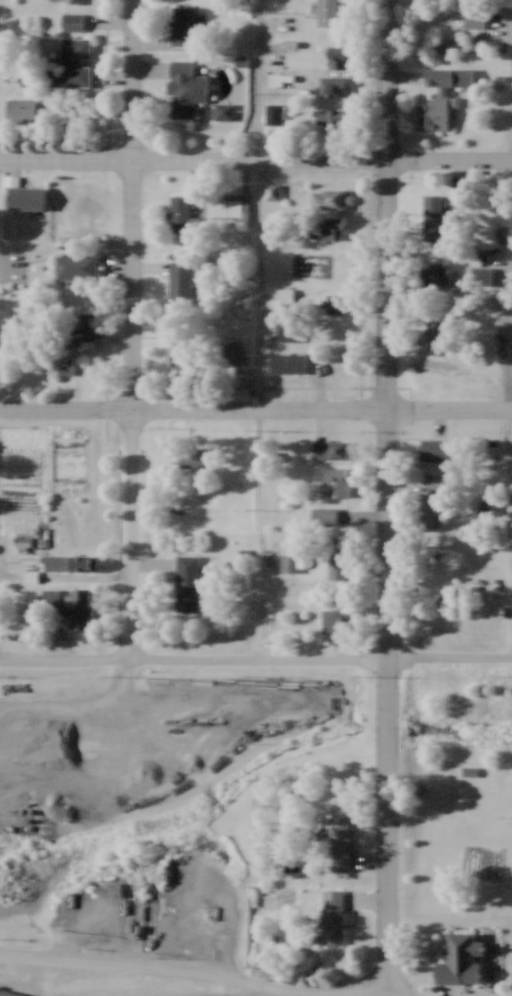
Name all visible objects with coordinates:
building: (74, 0)
building: (327, 12)
building: (474, 16)
building: (72, 20)
building: (183, 24)
building: (72, 63)
road: (260, 79)
building: (332, 85)
building: (186, 87)
building: (437, 100)
building: (20, 109)
building: (274, 113)
building: (331, 116)
building: (223, 118)
road: (194, 158)
road: (450, 158)
building: (272, 191)
building: (26, 196)
building: (328, 198)
building: (85, 200)
road: (132, 204)
road: (387, 204)
building: (228, 207)
building: (432, 208)
building: (179, 212)
building: (334, 226)
building: (76, 266)
building: (334, 266)
building: (434, 275)
building: (183, 277)
building: (335, 302)
building: (85, 328)
building: (287, 331)
building: (435, 334)
building: (231, 352)
building: (175, 356)
building: (288, 362)
road: (449, 408)
road: (193, 409)
road: (265, 410)
building: (435, 447)
building: (330, 449)
building: (188, 459)
building: (336, 482)
building: (437, 482)
building: (486, 506)
building: (428, 510)
building: (324, 515)
road: (134, 536)
building: (289, 559)
building: (337, 559)
building: (82, 562)
building: (187, 582)
building: (80, 607)
building: (336, 620)
road: (256, 663)
road: (388, 698)
road: (77, 709)
building: (468, 770)
building: (338, 842)
building: (332, 915)
building: (462, 958)
road: (204, 976)
building: (10, 992)
road: (362, 995)

